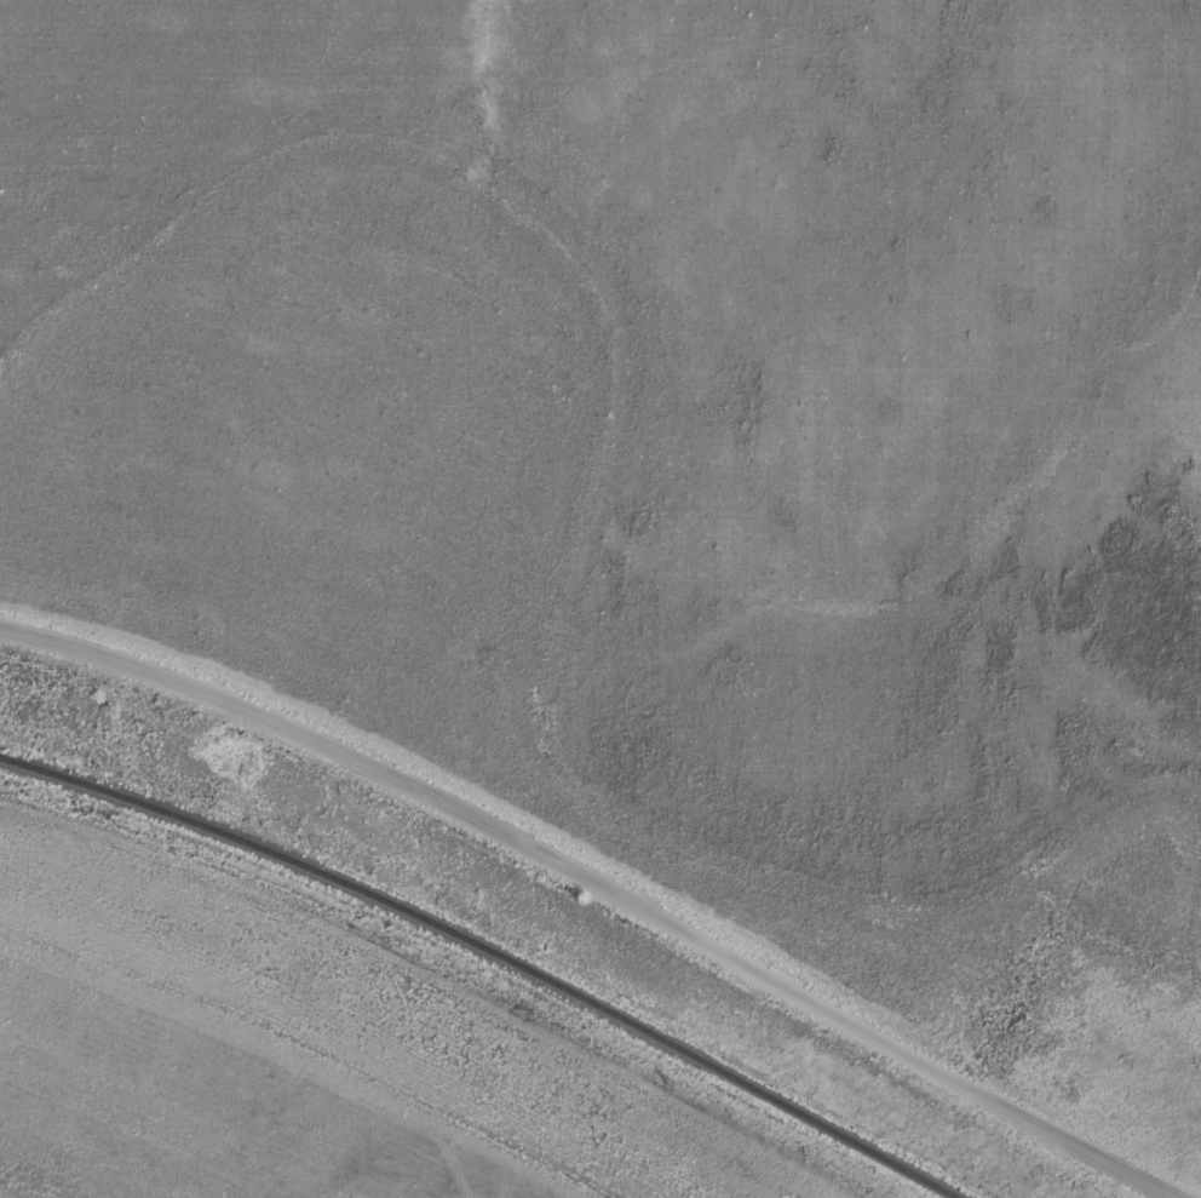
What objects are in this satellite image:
road: (600, 884)
railway: (492, 948)

